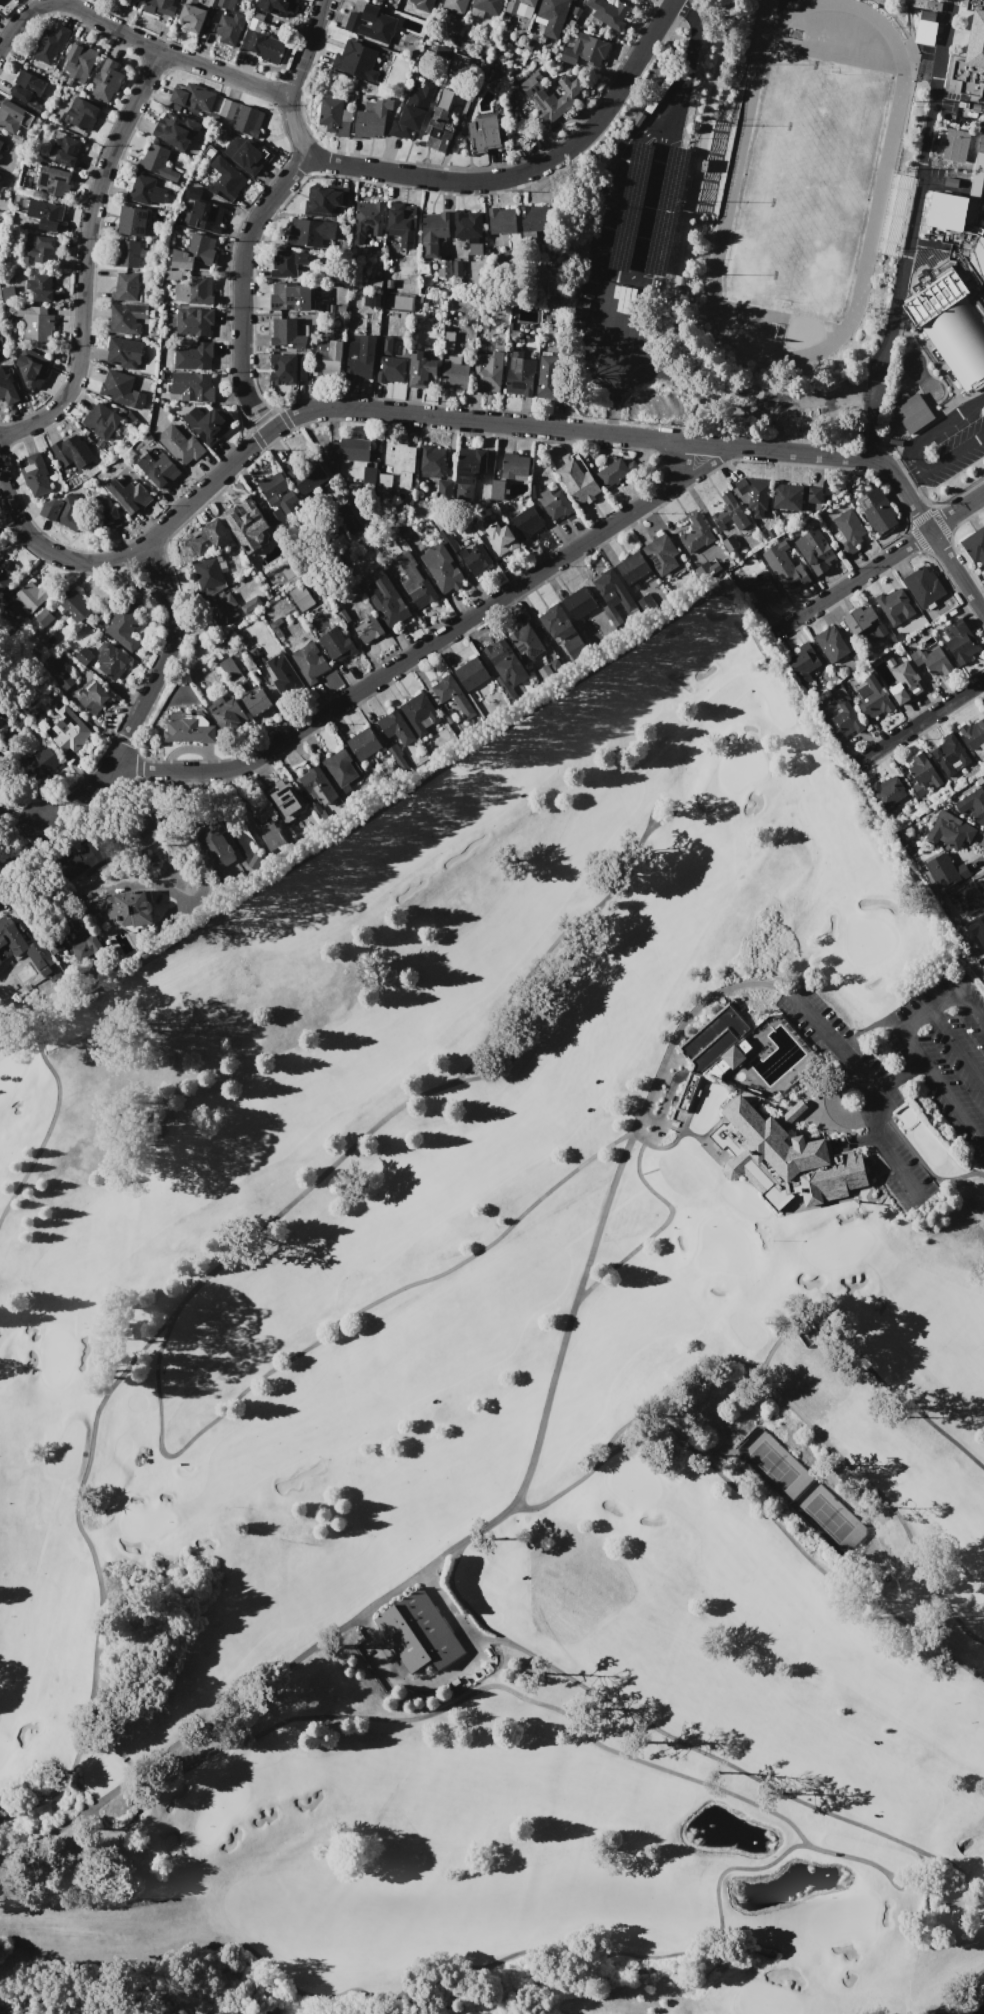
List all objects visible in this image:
building: (0, 0)
building: (430, 1)
road: (670, 1)
building: (212, 3)
building: (222, 3)
building: (455, 6)
building: (488, 6)
building: (160, 7)
building: (280, 7)
building: (520, 7)
building: (577, 11)
building: (607, 14)
building: (192, 15)
building: (552, 16)
building: (372, 23)
building: (230, 28)
building: (976, 34)
road: (135, 36)
building: (51, 44)
building: (528, 44)
building: (267, 47)
road: (306, 49)
building: (585, 51)
building: (442, 52)
road: (688, 58)
building: (356, 60)
building: (79, 61)
building: (457, 65)
building: (968, 77)
building: (983, 78)
building: (107, 80)
building: (27, 89)
building: (549, 97)
building: (191, 98)
building: (229, 109)
building: (413, 109)
building: (82, 113)
building: (13, 116)
building: (335, 116)
building: (517, 118)
building: (373, 119)
building: (439, 120)
building: (248, 121)
building: (176, 130)
building: (484, 134)
building: (981, 138)
building: (1, 143)
building: (954, 145)
building: (64, 151)
building: (250, 157)
building: (157, 162)
building: (979, 162)
track: (883, 170)
building: (227, 178)
road: (534, 178)
building: (53, 180)
track: (806, 181)
building: (976, 184)
park: (805, 186)
building: (145, 190)
building: (324, 200)
building: (952, 211)
building: (46, 213)
building: (205, 216)
building: (368, 220)
building: (502, 220)
building: (132, 221)
building: (400, 224)
building: (533, 225)
road: (911, 229)
building: (469, 230)
building: (310, 232)
building: (433, 233)
building: (40, 247)
building: (194, 252)
building: (126, 254)
road: (244, 255)
road: (85, 256)
building: (289, 262)
building: (457, 268)
building: (444, 269)
road: (607, 274)
building: (375, 284)
building: (40, 287)
building: (125, 287)
building: (194, 291)
building: (8, 293)
building: (291, 297)
building: (371, 299)
building: (127, 318)
building: (35, 322)
building: (193, 322)
building: (288, 334)
building: (450, 338)
building: (124, 352)
building: (193, 357)
building: (326, 358)
building: (360, 358)
building: (389, 363)
building: (32, 368)
building: (287, 368)
building: (421, 370)
building: (487, 372)
building: (454, 374)
building: (520, 374)
building: (547, 376)
building: (192, 386)
building: (7, 388)
building: (121, 389)
building: (911, 412)
building: (101, 421)
road: (483, 421)
building: (208, 424)
road: (931, 433)
building: (180, 444)
building: (349, 449)
building: (73, 452)
road: (941, 459)
building: (400, 461)
building: (430, 461)
building: (159, 467)
building: (514, 467)
building: (468, 472)
building: (614, 472)
building: (35, 474)
building: (368, 474)
building: (309, 477)
building: (578, 480)
building: (382, 482)
building: (443, 489)
building: (497, 490)
building: (534, 491)
building: (130, 494)
building: (813, 494)
building: (753, 495)
building: (787, 496)
building: (278, 498)
building: (554, 504)
building: (877, 510)
building: (62, 512)
building: (105, 512)
building: (730, 513)
building: (526, 522)
building: (247, 526)
building: (478, 528)
building: (848, 532)
building: (696, 534)
building: (209, 537)
building: (500, 538)
building: (448, 541)
building: (729, 543)
building: (975, 545)
building: (815, 551)
building: (661, 554)
building: (475, 558)
road: (877, 564)
building: (632, 567)
building: (441, 568)
building: (785, 568)
building: (209, 573)
building: (2, 578)
building: (414, 581)
building: (613, 587)
building: (924, 587)
building: (760, 588)
building: (30, 596)
building: (301, 598)
building: (386, 601)
building: (578, 602)
building: (250, 604)
building: (895, 605)
building: (74, 608)
building: (221, 608)
building: (554, 619)
building: (125, 624)
building: (864, 625)
building: (276, 627)
building: (368, 628)
building: (526, 642)
building: (961, 642)
road: (433, 643)
building: (336, 644)
building: (833, 644)
building: (83, 656)
building: (930, 658)
building: (310, 662)
building: (505, 662)
building: (802, 662)
building: (113, 663)
building: (233, 667)
building: (471, 674)
building: (283, 675)
building: (905, 683)
road: (149, 694)
building: (450, 695)
building: (93, 697)
building: (874, 699)
building: (259, 702)
building: (230, 712)
building: (419, 713)
building: (844, 720)
road: (919, 721)
building: (394, 727)
building: (191, 730)
building: (69, 731)
building: (973, 734)
building: (362, 744)
building: (950, 755)
building: (398, 758)
building: (1, 762)
building: (40, 763)
building: (339, 768)
building: (923, 773)
building: (316, 784)
building: (888, 793)
building: (285, 802)
building: (973, 804)
road: (26, 813)
building: (950, 830)
building: (142, 832)
building: (272, 837)
building: (214, 843)
road: (27, 845)
building: (85, 855)
building: (945, 871)
building: (967, 898)
building: (131, 908)
building: (977, 929)
building: (22, 946)
building: (83, 946)
road: (941, 993)
road: (970, 1004)
road: (910, 1013)
road: (826, 1033)
road: (955, 1043)
building: (708, 1056)
road: (662, 1067)
parking lot: (903, 1074)
road: (895, 1075)
road: (853, 1080)
road: (939, 1087)
road: (863, 1139)
building: (785, 1157)
road: (894, 1160)
park: (512, 1410)
park: (773, 1465)
park: (828, 1517)
building: (418, 1632)

